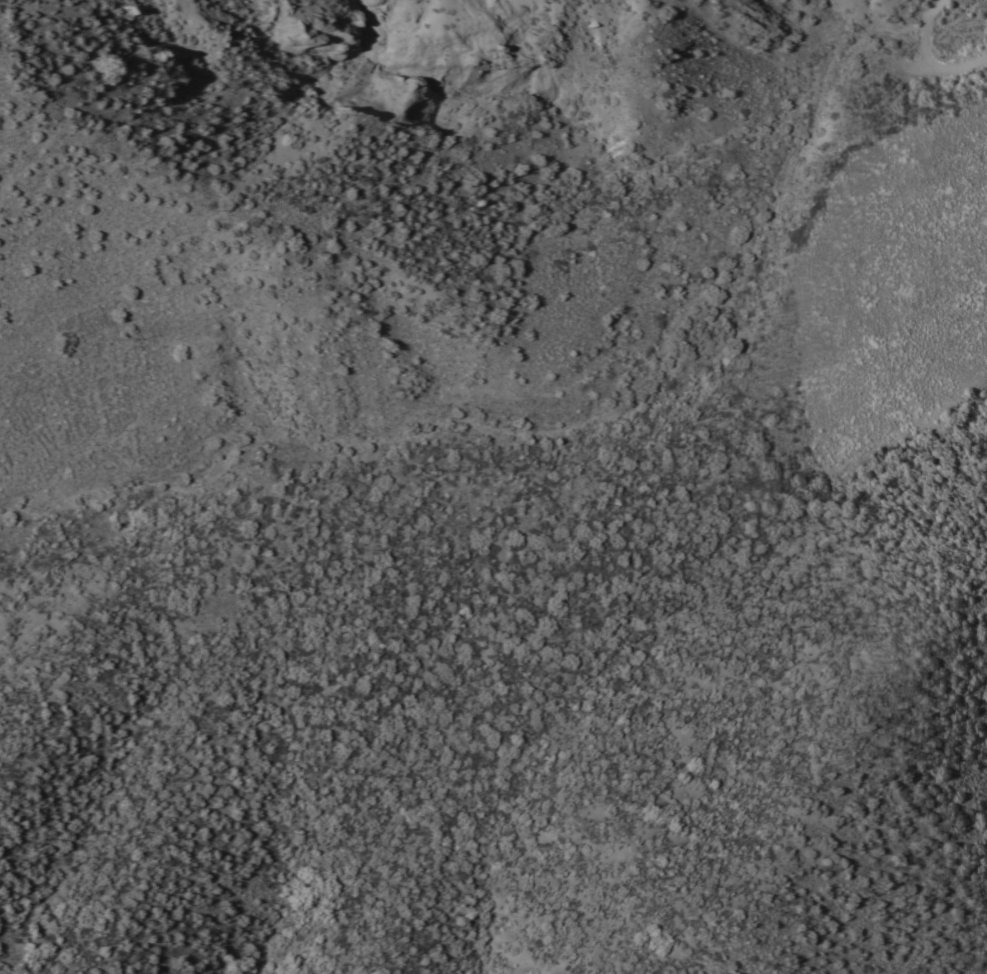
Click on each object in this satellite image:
road: (960, 59)
road: (887, 118)

